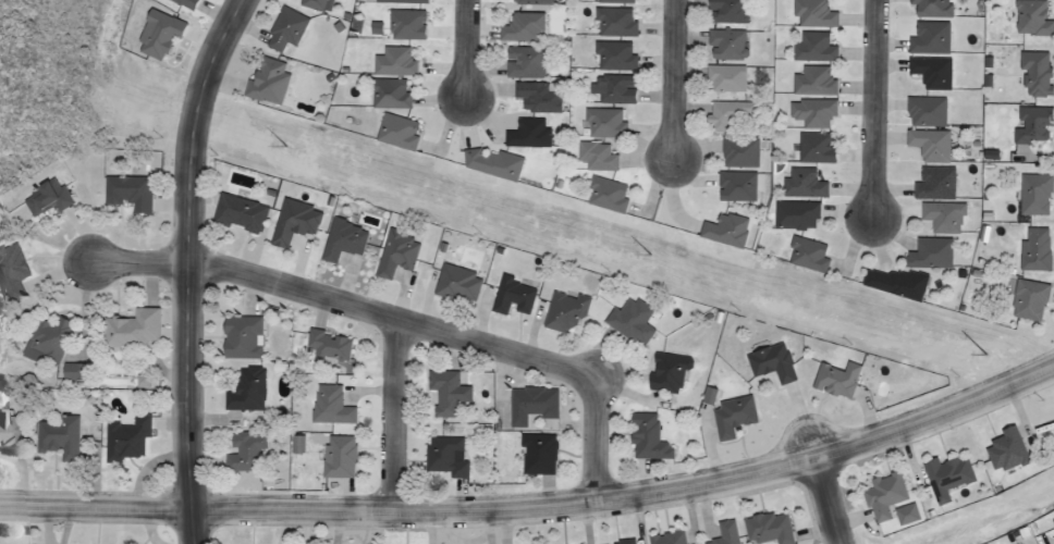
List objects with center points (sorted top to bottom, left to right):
building: (403, 0)
building: (529, 1)
building: (614, 1)
building: (183, 3)
building: (316, 4)
building: (930, 8)
building: (726, 11)
building: (811, 14)
building: (1031, 18)
building: (613, 22)
building: (407, 23)
building: (519, 27)
building: (284, 29)
building: (156, 35)
building: (928, 38)
building: (724, 45)
building: (812, 48)
road: (461, 51)
building: (613, 55)
building: (393, 62)
building: (525, 62)
building: (930, 73)
building: (1033, 74)
road: (671, 78)
building: (724, 79)
building: (266, 81)
building: (812, 82)
building: (611, 88)
building: (387, 94)
building: (537, 97)
building: (923, 111)
road: (870, 112)
building: (811, 113)
building: (730, 114)
building: (603, 123)
building: (1031, 125)
building: (395, 132)
building: (526, 134)
building: (928, 145)
building: (813, 148)
building: (737, 152)
building: (595, 156)
power tower: (338, 161)
building: (489, 163)
building: (933, 183)
building: (801, 184)
building: (735, 186)
building: (126, 193)
building: (604, 195)
building: (1033, 195)
building: (44, 198)
building: (237, 214)
building: (794, 215)
building: (941, 218)
building: (291, 222)
building: (722, 231)
building: (341, 239)
building: (1033, 249)
building: (394, 254)
building: (805, 255)
building: (928, 255)
road: (188, 267)
building: (10, 272)
power tower: (713, 273)
building: (455, 283)
building: (892, 284)
building: (511, 296)
building: (1027, 300)
building: (563, 313)
building: (628, 321)
road: (406, 323)
building: (131, 330)
building: (240, 337)
building: (45, 342)
building: (327, 346)
building: (770, 363)
building: (74, 370)
building: (666, 373)
building: (833, 380)
building: (244, 391)
building: (442, 391)
building: (709, 394)
building: (528, 405)
building: (328, 406)
building: (730, 417)
road: (392, 418)
building: (8, 430)
building: (56, 437)
building: (645, 437)
building: (124, 438)
building: (298, 443)
building: (243, 452)
building: (1003, 452)
building: (536, 454)
building: (444, 456)
building: (336, 457)
building: (945, 478)
building: (882, 496)
road: (823, 502)
road: (537, 503)
building: (908, 514)
building: (1053, 520)
building: (767, 528)
building: (723, 533)
building: (665, 537)
building: (618, 542)

